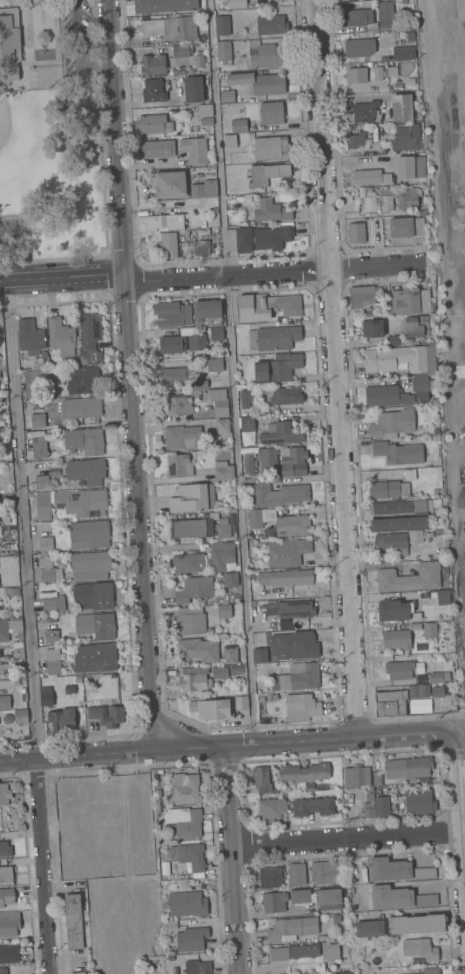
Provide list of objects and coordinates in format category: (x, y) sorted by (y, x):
building: (403, 1)
building: (238, 3)
building: (164, 5)
building: (371, 16)
building: (271, 24)
building: (222, 25)
building: (152, 27)
building: (181, 27)
building: (410, 37)
road: (75, 38)
building: (9, 44)
building: (359, 47)
building: (182, 50)
building: (224, 53)
building: (398, 53)
building: (265, 55)
building: (199, 61)
building: (153, 65)
building: (174, 69)
building: (378, 73)
building: (356, 75)
building: (259, 82)
building: (398, 87)
building: (194, 89)
building: (153, 90)
building: (227, 96)
building: (402, 107)
building: (205, 110)
building: (365, 111)
building: (272, 112)
building: (377, 120)
building: (207, 121)
building: (154, 124)
building: (239, 125)
park: (48, 131)
building: (407, 137)
building: (358, 138)
building: (230, 141)
park: (29, 145)
building: (271, 147)
building: (157, 148)
building: (194, 149)
building: (408, 166)
building: (257, 177)
building: (370, 177)
road: (101, 180)
building: (170, 183)
building: (204, 189)
building: (362, 192)
building: (399, 198)
building: (369, 202)
building: (424, 205)
building: (215, 210)
building: (270, 210)
building: (160, 222)
building: (202, 224)
building: (406, 227)
building: (186, 233)
building: (356, 233)
building: (258, 238)
building: (169, 245)
building: (202, 247)
road: (22, 248)
road: (272, 272)
road: (61, 276)
building: (364, 296)
building: (411, 301)
building: (266, 306)
building: (207, 313)
building: (172, 314)
building: (432, 316)
building: (415, 326)
building: (372, 328)
building: (90, 330)
building: (216, 333)
building: (61, 336)
building: (30, 337)
building: (273, 338)
building: (393, 340)
building: (197, 341)
building: (173, 345)
building: (433, 347)
building: (44, 354)
building: (83, 358)
building: (396, 359)
building: (215, 364)
building: (277, 368)
road: (334, 368)
road: (231, 372)
building: (175, 374)
road: (129, 375)
building: (84, 380)
building: (31, 383)
building: (201, 383)
building: (50, 388)
building: (422, 389)
building: (387, 395)
building: (286, 396)
building: (245, 399)
building: (219, 401)
building: (177, 405)
building: (82, 408)
building: (38, 420)
building: (392, 423)
building: (247, 424)
building: (222, 426)
building: (282, 434)
building: (183, 437)
building: (84, 440)
building: (250, 443)
building: (39, 447)
building: (399, 453)
building: (291, 458)
building: (268, 460)
building: (249, 463)
building: (179, 465)
building: (86, 471)
building: (223, 471)
building: (410, 474)
building: (41, 482)
building: (388, 489)
building: (436, 492)
building: (279, 494)
building: (193, 498)
building: (81, 501)
building: (434, 504)
building: (43, 506)
building: (399, 507)
road: (22, 520)
building: (280, 522)
building: (399, 523)
building: (191, 527)
building: (224, 531)
building: (90, 533)
building: (415, 536)
building: (392, 542)
building: (45, 543)
building: (287, 552)
building: (206, 559)
building: (90, 565)
building: (47, 570)
building: (253, 574)
building: (286, 577)
building: (410, 577)
building: (230, 580)
building: (194, 589)
building: (13, 591)
building: (93, 595)
building: (443, 597)
building: (53, 604)
building: (1, 607)
building: (290, 609)
building: (224, 611)
building: (397, 611)
building: (190, 620)
building: (96, 625)
building: (9, 628)
building: (430, 630)
building: (51, 635)
building: (397, 639)
building: (18, 644)
building: (198, 649)
building: (17, 654)
building: (230, 654)
building: (96, 657)
building: (53, 661)
building: (412, 670)
building: (219, 672)
building: (299, 677)
building: (78, 679)
building: (194, 681)
building: (70, 689)
building: (419, 690)
building: (437, 691)
building: (47, 695)
building: (272, 697)
building: (261, 699)
building: (5, 702)
building: (242, 703)
building: (390, 703)
building: (419, 706)
building: (301, 707)
building: (214, 709)
building: (21, 716)
building: (105, 717)
building: (264, 717)
building: (62, 719)
road: (232, 746)
building: (408, 767)
building: (304, 772)
building: (356, 776)
building: (377, 778)
building: (262, 779)
building: (184, 788)
building: (281, 788)
building: (4, 794)
building: (158, 794)
building: (370, 797)
building: (419, 802)
building: (313, 806)
building: (382, 806)
building: (272, 809)
building: (369, 810)
road: (458, 820)
building: (184, 821)
road: (346, 840)
building: (5, 849)
building: (190, 857)
road: (234, 860)
road: (44, 866)
building: (164, 869)
building: (398, 870)
building: (325, 872)
building: (6, 874)
building: (297, 874)
building: (270, 877)
building: (7, 896)
building: (300, 896)
building: (398, 897)
building: (329, 898)
building: (274, 902)
building: (188, 904)
building: (337, 918)
building: (74, 921)
building: (9, 924)
building: (170, 924)
building: (417, 924)
building: (369, 928)
building: (291, 929)
building: (322, 937)
building: (192, 939)
building: (420, 948)
building: (330, 951)
building: (294, 952)
building: (9, 953)
building: (198, 967)
building: (3, 970)
building: (430, 970)
building: (78, 973)
building: (344, 973)

